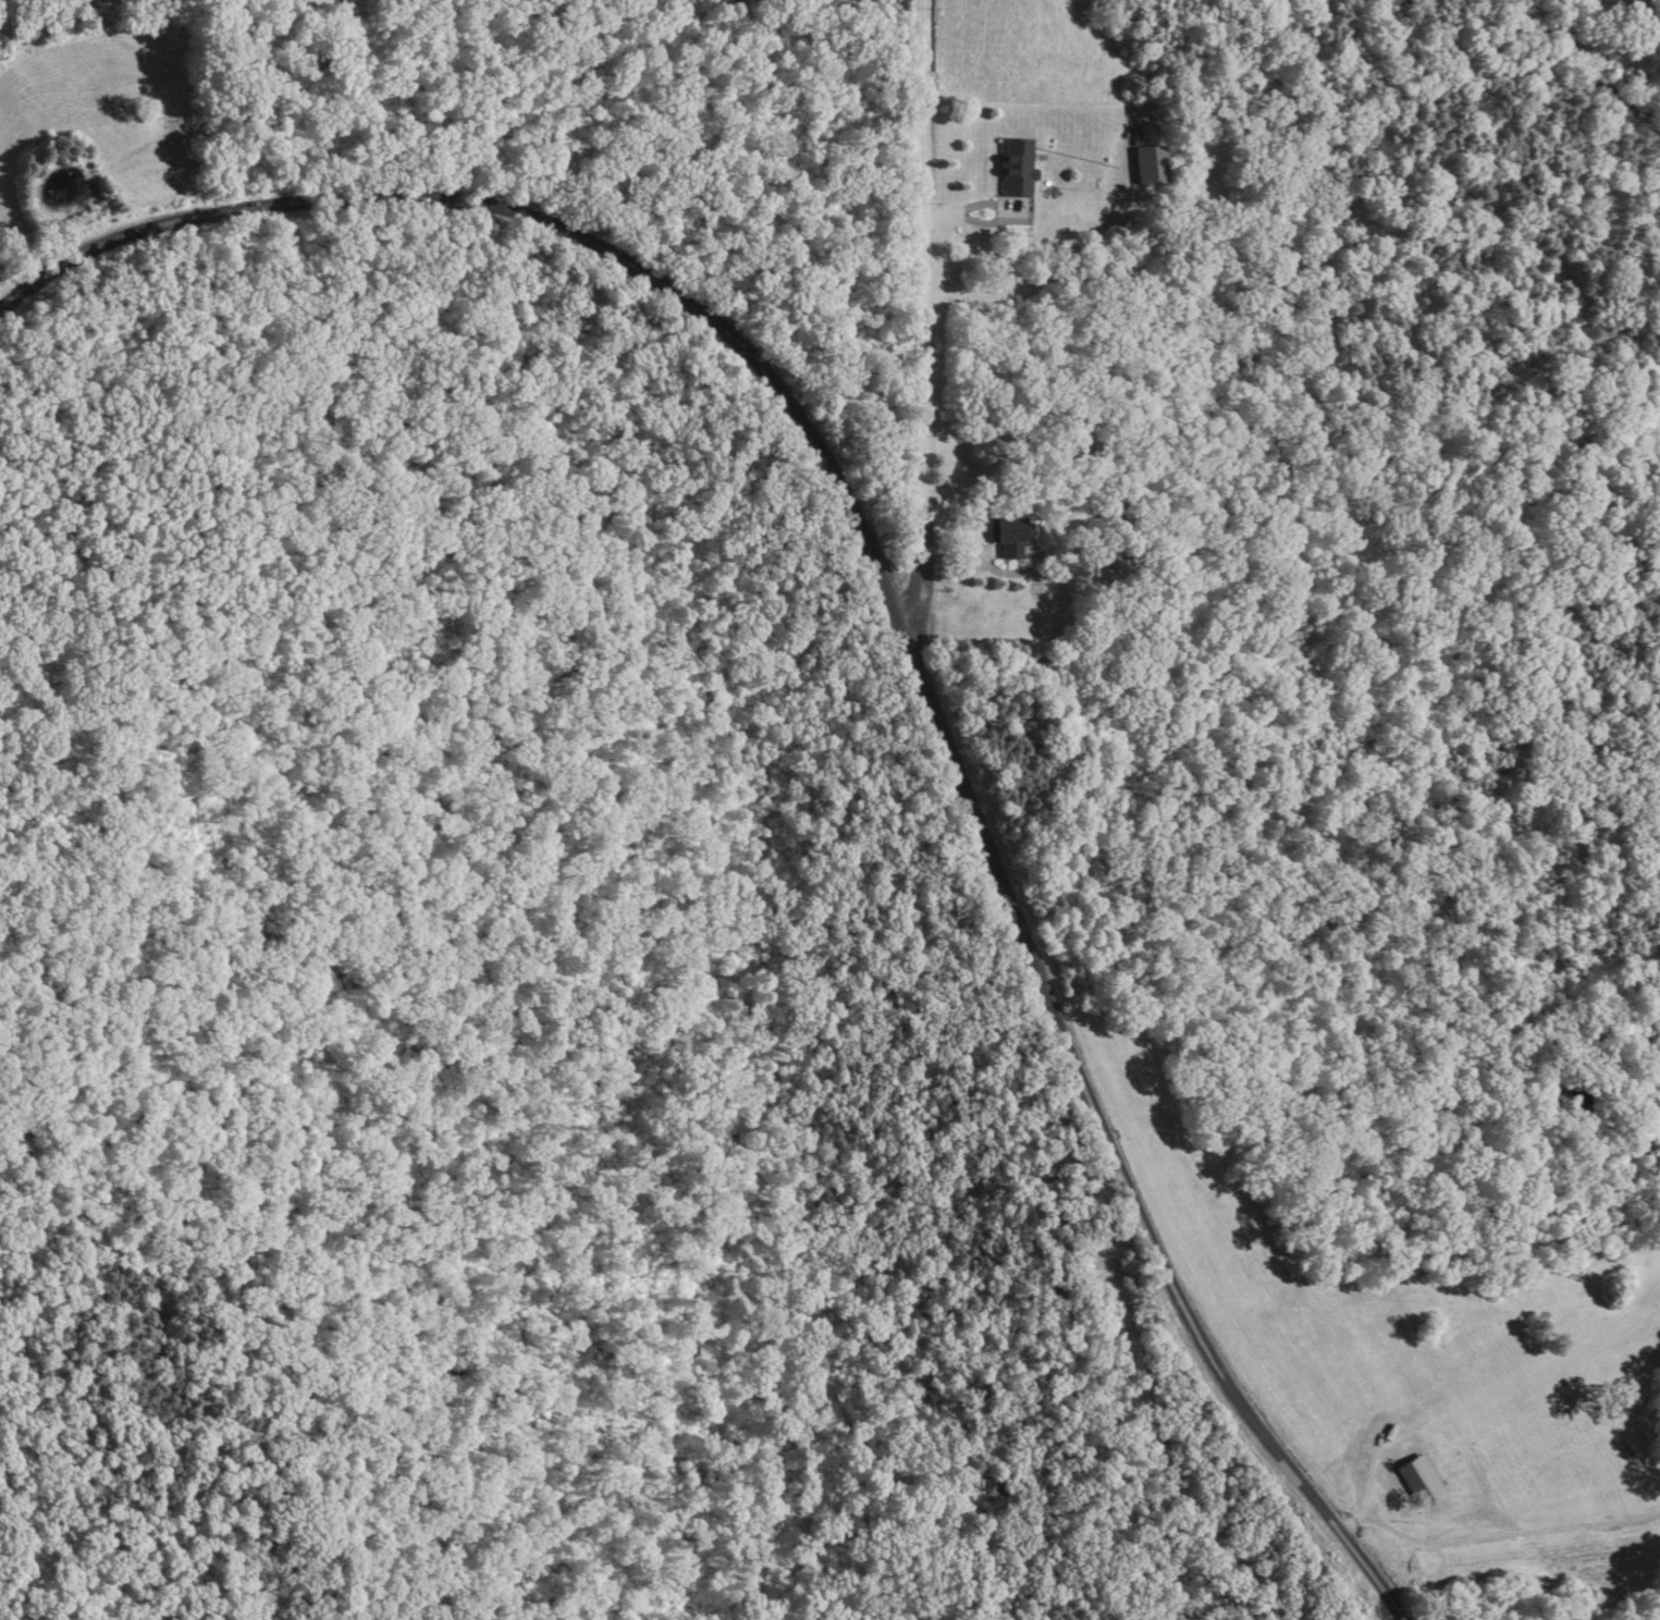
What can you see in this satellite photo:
building: (1144, 168)
building: (1010, 170)
road: (922, 254)
building: (1004, 539)
road: (914, 612)
building: (1059, 1203)
road: (1492, 1538)

